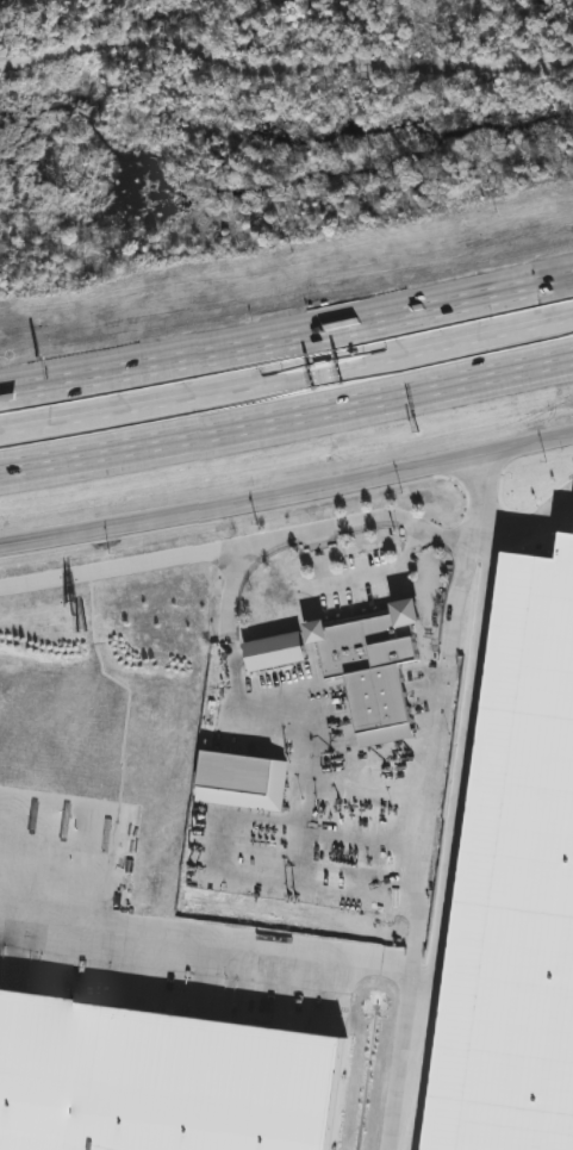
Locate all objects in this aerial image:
road: (287, 340)
building: (475, 346)
road: (287, 383)
building: (292, 388)
road: (287, 416)
road: (568, 433)
building: (35, 441)
road: (518, 443)
road: (237, 505)
road: (527, 515)
road: (366, 521)
road: (126, 566)
building: (273, 654)
building: (369, 666)
road: (431, 750)
road: (463, 759)
building: (233, 776)
road: (293, 945)
building: (160, 1081)

